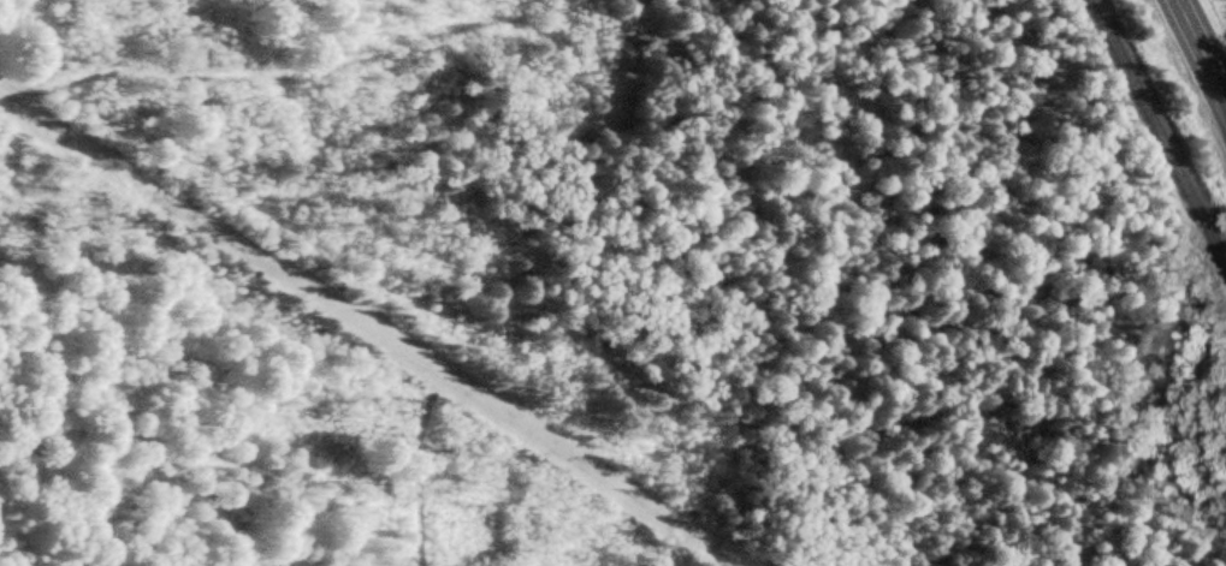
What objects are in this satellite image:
road: (1202, 47)
railway: (1155, 137)

